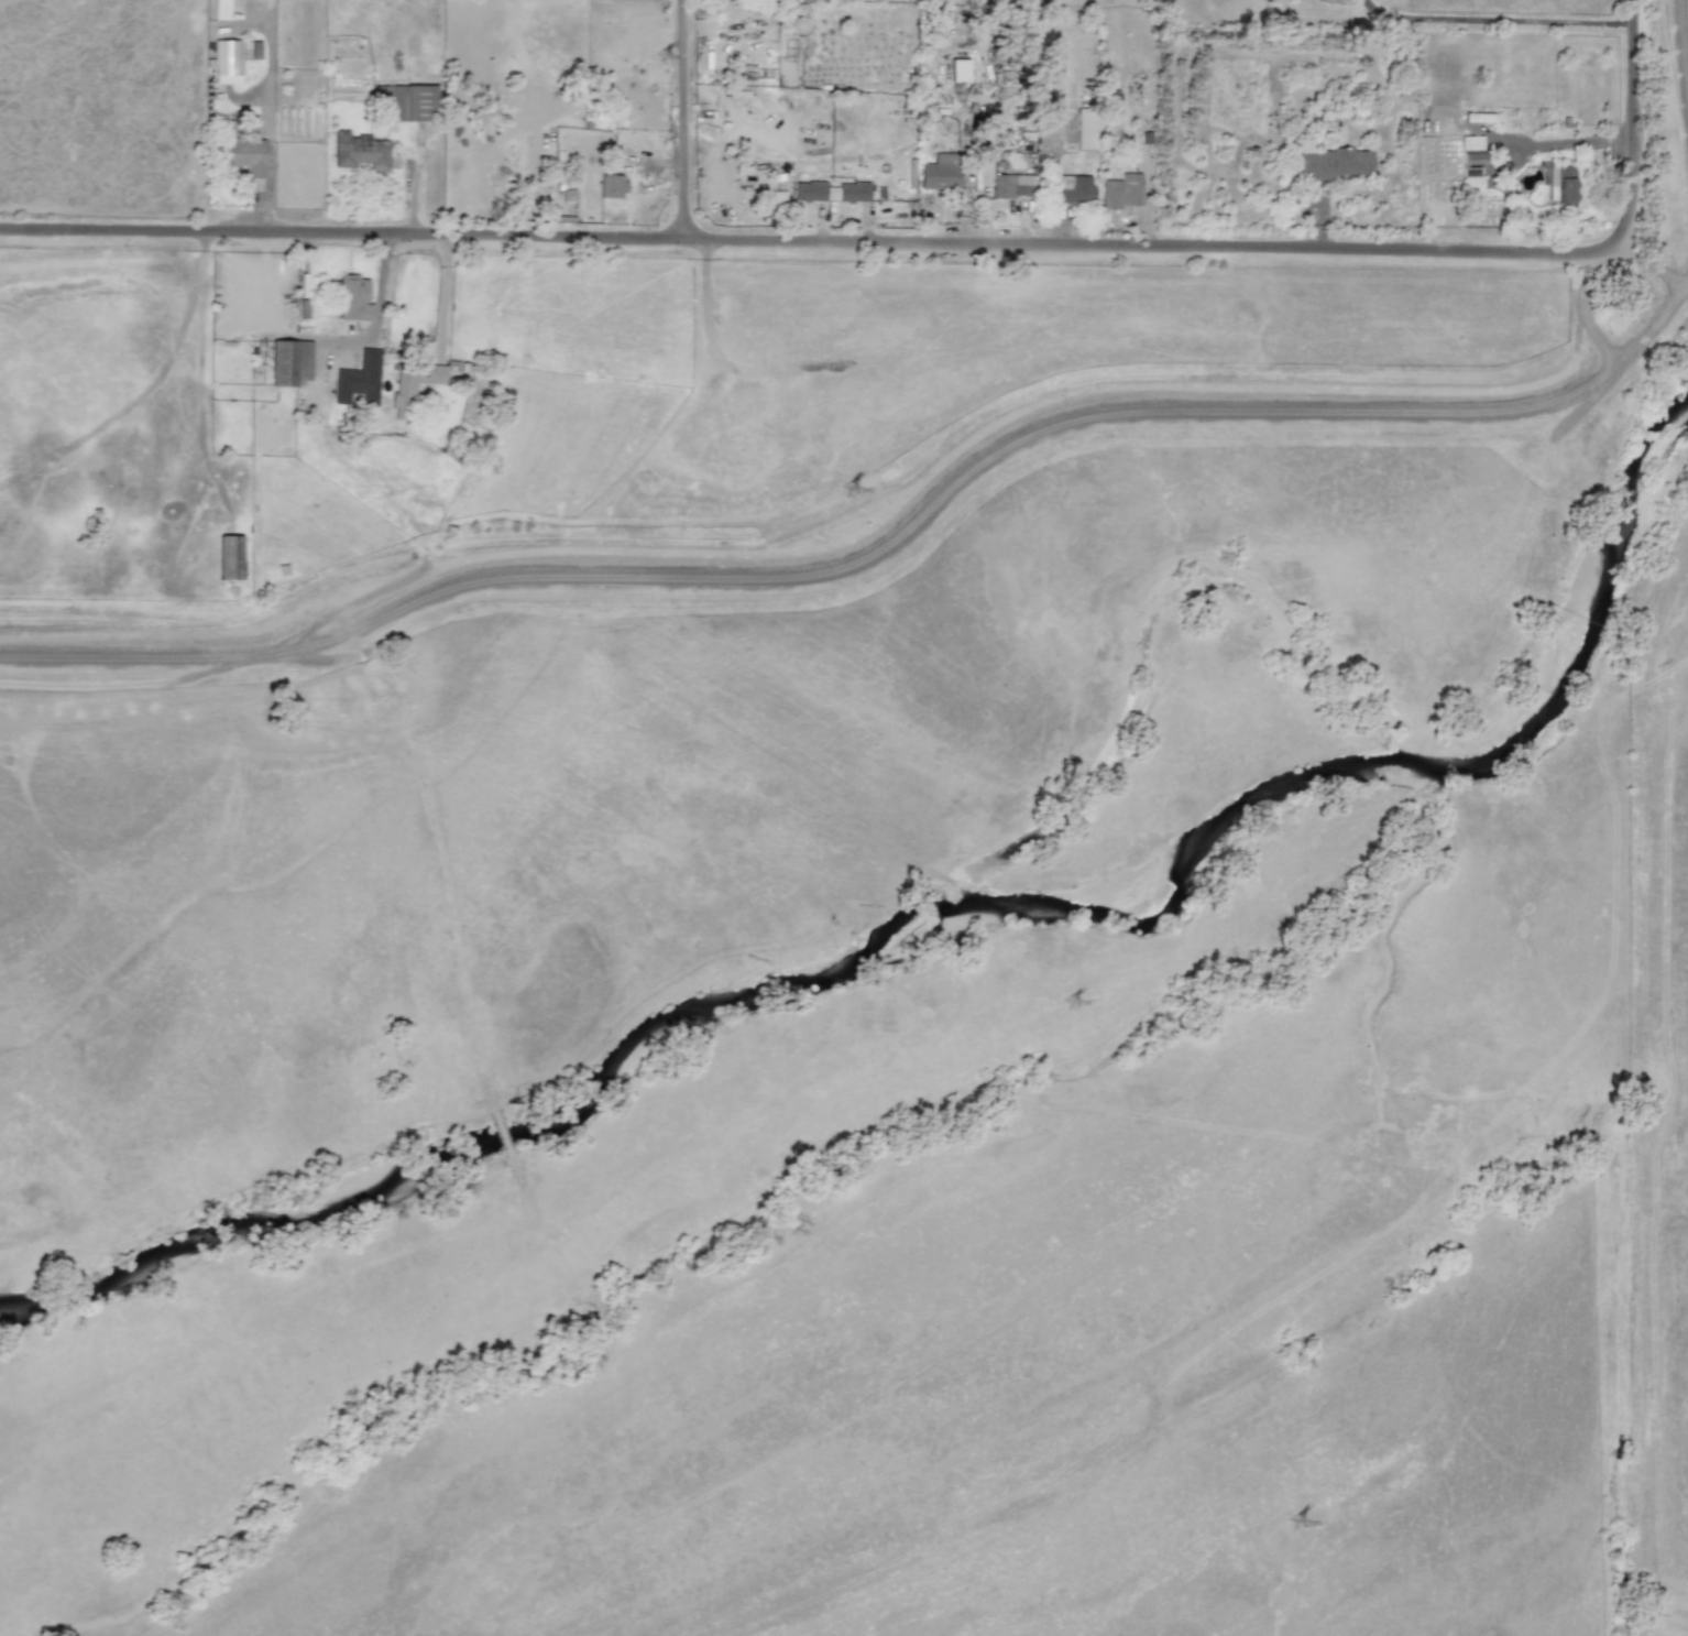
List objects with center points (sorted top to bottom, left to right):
road: (1687, 8)
building: (219, 9)
road: (1495, 20)
building: (255, 50)
power tower: (665, 58)
building: (224, 61)
building: (958, 70)
building: (744, 72)
building: (405, 101)
road: (682, 120)
road: (1635, 123)
building: (1085, 129)
building: (1470, 142)
building: (359, 151)
building: (244, 153)
building: (1334, 163)
building: (1476, 170)
building: (940, 171)
building: (1560, 184)
building: (610, 185)
building: (1009, 185)
building: (1074, 188)
building: (829, 190)
building: (1121, 190)
road: (816, 242)
road: (443, 295)
building: (352, 297)
road: (1586, 310)
building: (289, 361)
building: (358, 379)
building: (403, 400)
road: (1275, 411)
power tower: (865, 521)
building: (229, 557)
crop: (515, 732)
power tower: (1073, 1004)
crop: (1654, 1045)
power tower: (1291, 1502)

